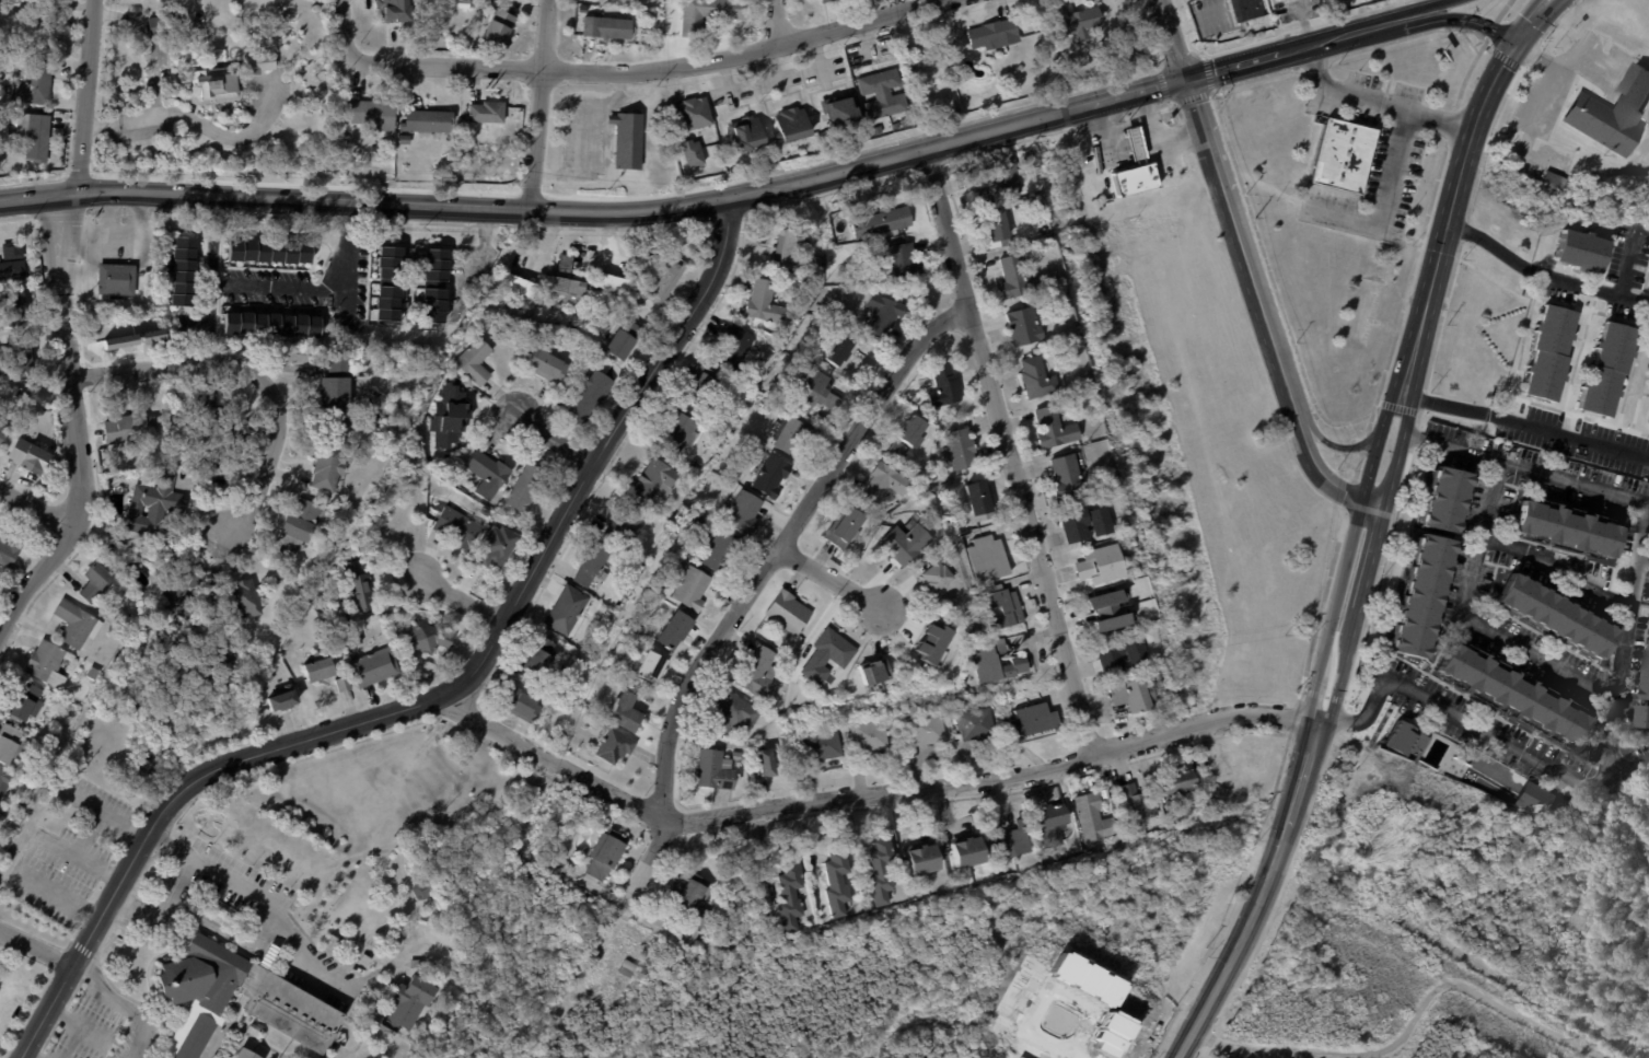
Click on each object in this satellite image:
building: (627, 0)
building: (1284, 0)
building: (827, 1)
building: (1246, 9)
road: (1422, 9)
building: (394, 11)
building: (709, 13)
building: (1078, 19)
road: (1458, 20)
road: (1533, 21)
building: (51, 23)
road: (774, 24)
road: (1387, 25)
building: (167, 26)
building: (607, 27)
road: (344, 28)
building: (666, 28)
building: (498, 31)
building: (1050, 33)
building: (995, 34)
traffic signals: (1514, 43)
building: (1040, 49)
building: (260, 62)
road: (652, 72)
traffic signals: (1186, 79)
road: (153, 83)
building: (214, 83)
building: (33, 85)
building: (884, 93)
road: (85, 95)
road: (541, 103)
road: (1379, 103)
building: (841, 112)
building: (488, 113)
building: (372, 114)
building: (695, 114)
building: (1613, 115)
building: (428, 120)
road: (1143, 120)
building: (791, 124)
road: (1111, 127)
road: (1151, 130)
building: (746, 135)
road: (232, 136)
road: (582, 136)
road: (1172, 136)
building: (1565, 136)
building: (34, 137)
building: (405, 139)
building: (628, 140)
road: (1138, 146)
building: (693, 153)
building: (1346, 156)
building: (1138, 163)
building: (1549, 181)
building: (1000, 184)
building: (1564, 185)
road: (1391, 196)
road: (700, 209)
road: (1452, 209)
building: (1043, 213)
building: (879, 221)
building: (997, 229)
road: (45, 242)
building: (808, 243)
building: (1050, 245)
building: (789, 248)
building: (12, 251)
building: (1580, 251)
building: (269, 253)
road: (477, 258)
road: (1626, 261)
building: (904, 263)
building: (12, 271)
road: (1250, 271)
building: (184, 272)
road: (1544, 272)
building: (115, 279)
building: (664, 279)
building: (1015, 279)
building: (567, 281)
building: (390, 283)
building: (613, 283)
building: (516, 286)
building: (436, 287)
road: (277, 289)
building: (765, 303)
building: (15, 310)
building: (885, 314)
building: (272, 325)
building: (1025, 327)
building: (338, 328)
building: (625, 340)
building: (739, 346)
building: (839, 351)
building: (1548, 353)
road: (66, 359)
building: (19, 360)
building: (476, 361)
building: (547, 364)
building: (1606, 370)
road: (248, 372)
building: (1038, 377)
building: (704, 387)
building: (944, 387)
building: (336, 394)
building: (820, 394)
building: (590, 395)
building: (448, 417)
building: (1648, 419)
building: (211, 421)
road: (1524, 421)
building: (130, 429)
building: (1055, 429)
building: (2, 432)
building: (914, 432)
building: (678, 433)
road: (555, 434)
building: (796, 435)
road: (1378, 440)
road: (1333, 444)
building: (961, 450)
building: (899, 451)
building: (221, 453)
road: (1010, 455)
building: (27, 457)
building: (104, 457)
building: (326, 465)
building: (697, 465)
building: (115, 468)
building: (487, 475)
building: (771, 476)
building: (1067, 479)
building: (750, 480)
building: (657, 481)
building: (886, 484)
building: (526, 488)
building: (960, 489)
building: (1447, 500)
building: (978, 502)
building: (154, 507)
road: (36, 509)
building: (744, 514)
building: (301, 521)
building: (1088, 524)
road: (1640, 526)
building: (457, 527)
building: (629, 527)
building: (1564, 527)
building: (846, 528)
building: (906, 543)
building: (497, 548)
road: (1642, 551)
building: (8, 554)
building: (722, 554)
building: (988, 558)
building: (593, 566)
building: (1102, 566)
road: (1555, 569)
road: (33, 575)
road: (831, 580)
building: (938, 580)
building: (95, 583)
road: (756, 583)
road: (462, 585)
building: (357, 588)
building: (694, 590)
building: (181, 593)
building: (1421, 596)
building: (244, 600)
building: (1001, 607)
building: (568, 611)
building: (789, 613)
building: (1554, 616)
road: (1471, 620)
building: (76, 625)
building: (676, 632)
building: (428, 638)
building: (350, 640)
building: (359, 640)
building: (934, 644)
building: (622, 649)
building: (1137, 652)
building: (1113, 655)
building: (828, 656)
building: (542, 659)
building: (985, 661)
building: (46, 664)
road: (1343, 665)
building: (374, 667)
building: (650, 667)
building: (872, 671)
building: (320, 672)
building: (93, 674)
building: (759, 674)
building: (1648, 684)
building: (344, 685)
building: (1511, 694)
building: (1136, 696)
building: (283, 699)
building: (25, 704)
road: (432, 704)
building: (777, 704)
building: (529, 708)
road: (1444, 708)
building: (1646, 711)
building: (626, 714)
building: (735, 714)
building: (1032, 719)
building: (976, 724)
building: (928, 730)
building: (872, 735)
building: (1404, 737)
building: (11, 745)
building: (825, 745)
building: (615, 747)
road: (1308, 752)
building: (738, 757)
building: (767, 764)
road: (1627, 766)
building: (1453, 769)
building: (717, 774)
building: (3, 783)
building: (1183, 789)
road: (867, 797)
building: (1533, 800)
building: (1140, 804)
building: (1208, 810)
road: (106, 813)
building: (1095, 818)
building: (1054, 828)
road: (89, 834)
building: (1013, 840)
building: (547, 848)
building: (967, 851)
building: (606, 853)
road: (28, 854)
parking lot: (72, 856)
road: (79, 858)
building: (924, 859)
building: (881, 871)
road: (234, 882)
parking lot: (237, 882)
building: (839, 883)
building: (739, 884)
road: (179, 886)
building: (421, 888)
road: (57, 895)
building: (790, 897)
building: (689, 898)
road: (265, 922)
road: (1247, 923)
road: (35, 947)
road: (1395, 956)
building: (416, 963)
building: (630, 965)
building: (581, 974)
building: (194, 992)
road: (120, 1001)
building: (406, 1004)
building: (604, 1009)
parking lot: (104, 1024)
road: (71, 1025)
road: (1407, 1026)
building: (258, 1027)
building: (274, 1036)
road: (30, 1053)
building: (242, 1054)
road: (1384, 1054)

